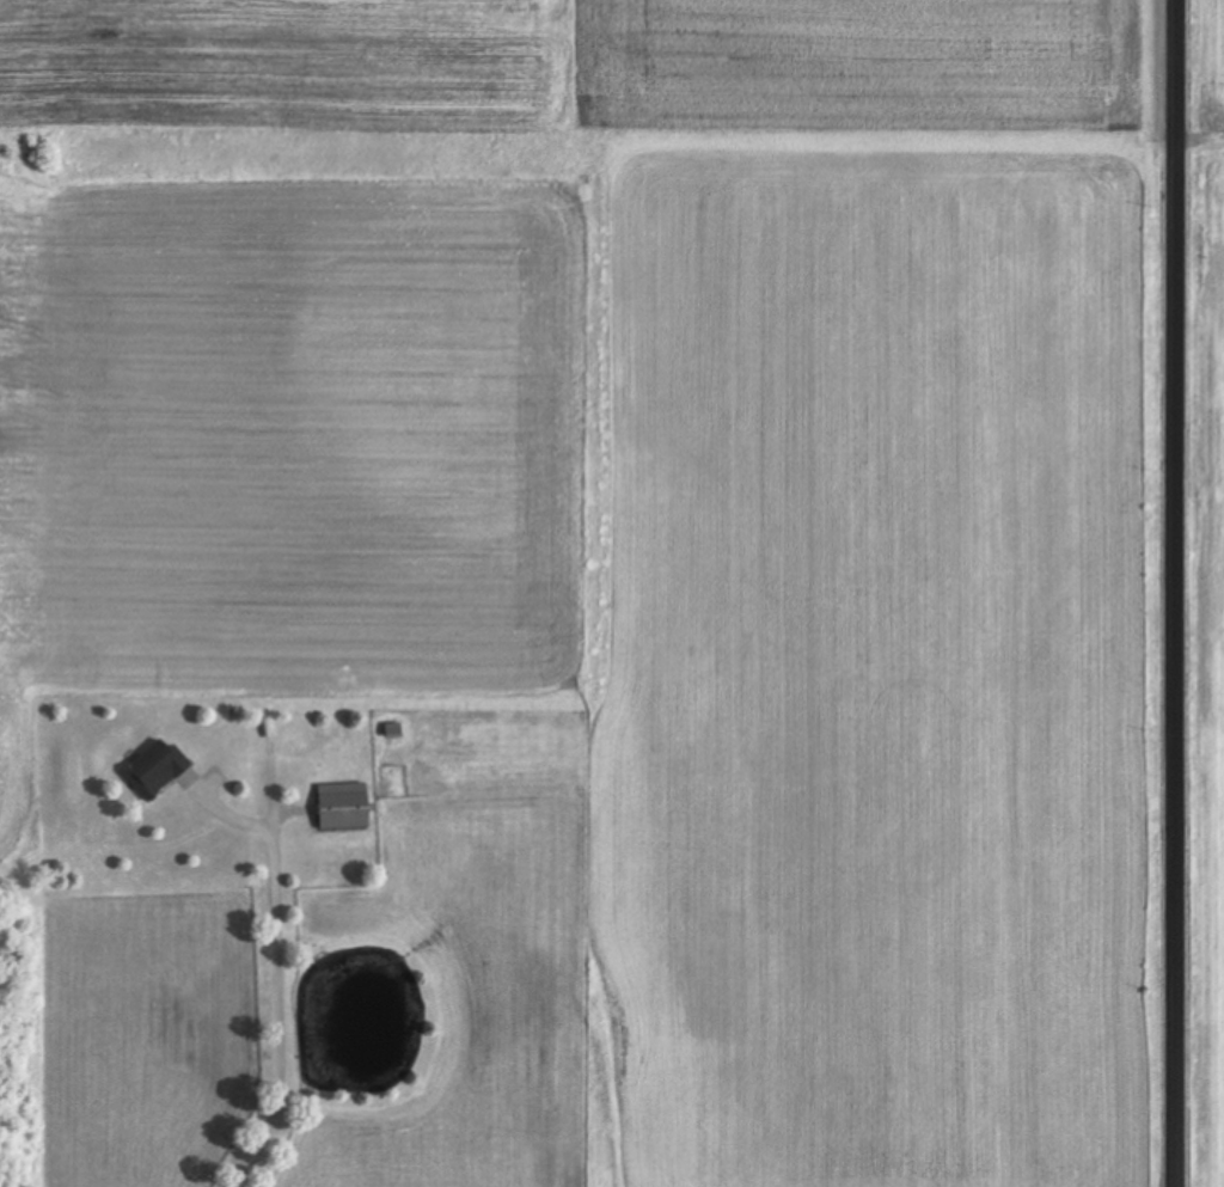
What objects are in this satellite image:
road: (1181, 593)
building: (158, 769)
building: (344, 807)

